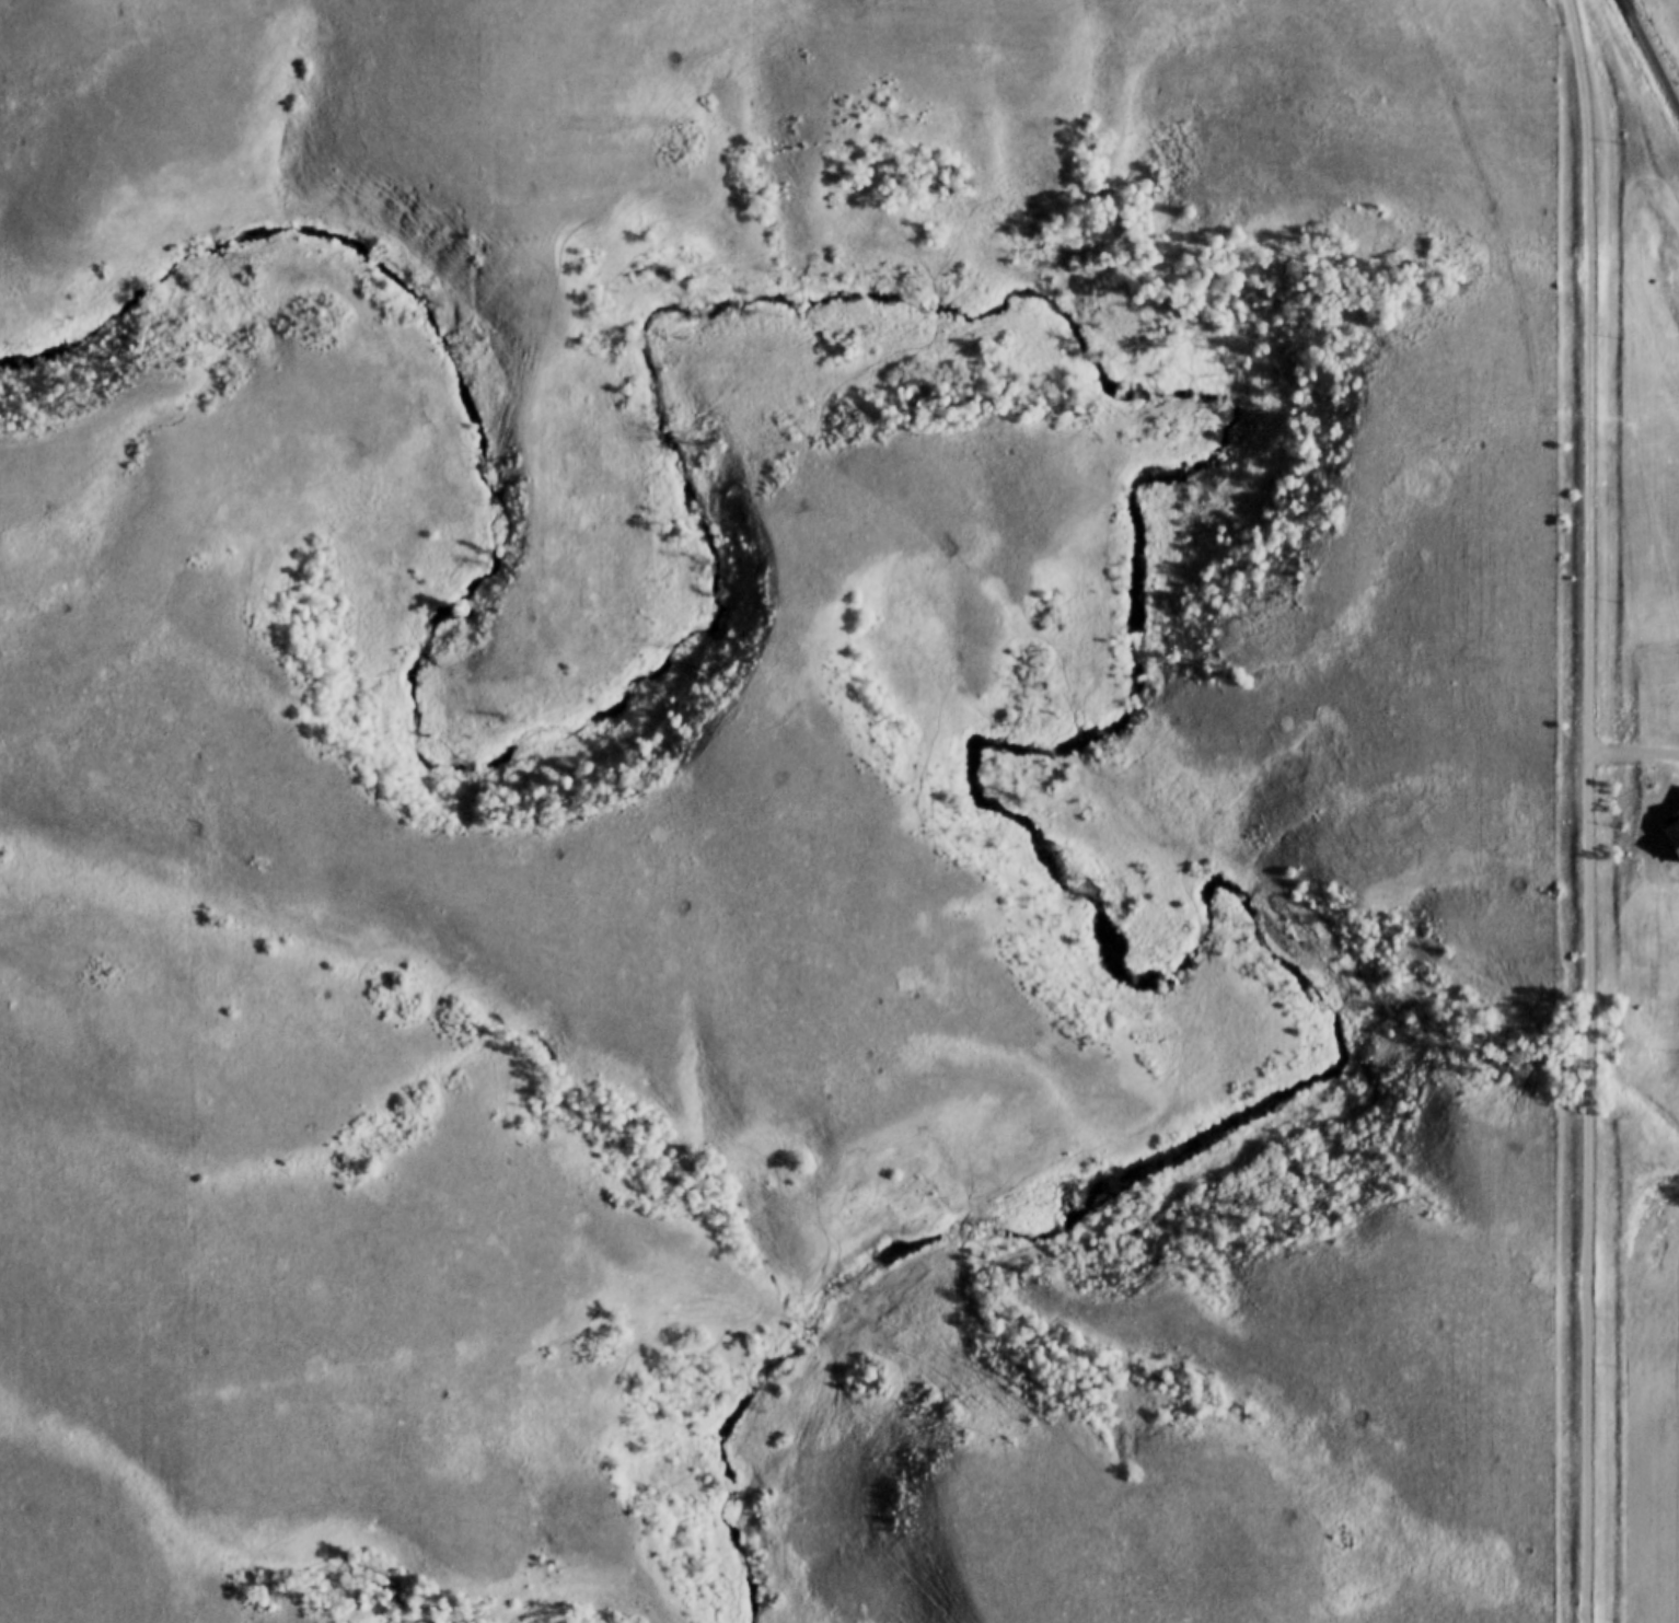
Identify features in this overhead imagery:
railway: (1651, 55)
road: (1591, 810)

